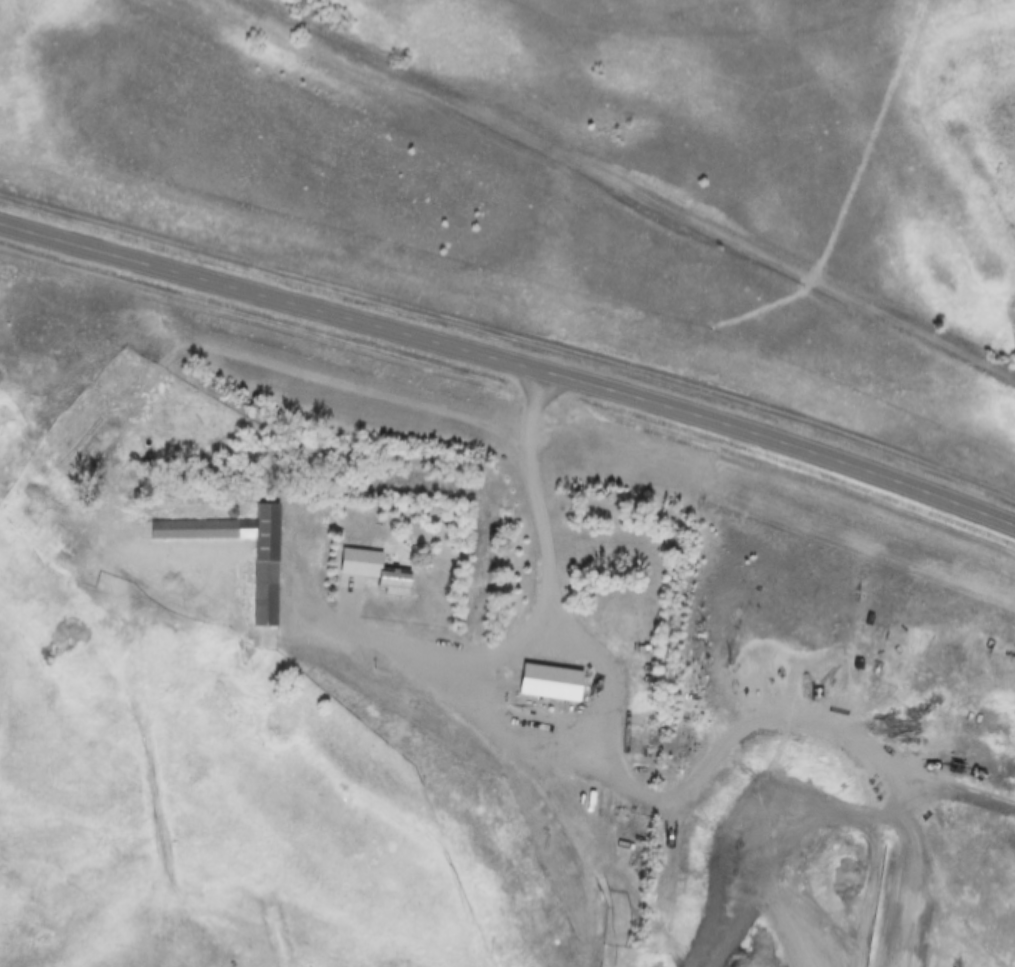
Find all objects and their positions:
road: (511, 356)
building: (372, 570)
building: (265, 583)
road: (520, 637)
building: (550, 682)

